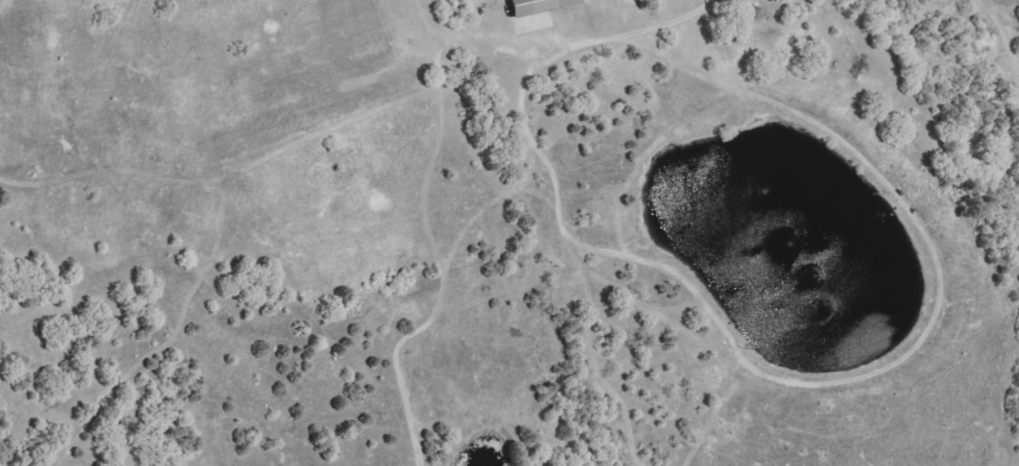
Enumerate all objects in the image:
building: (543, 6)
road: (647, 27)

